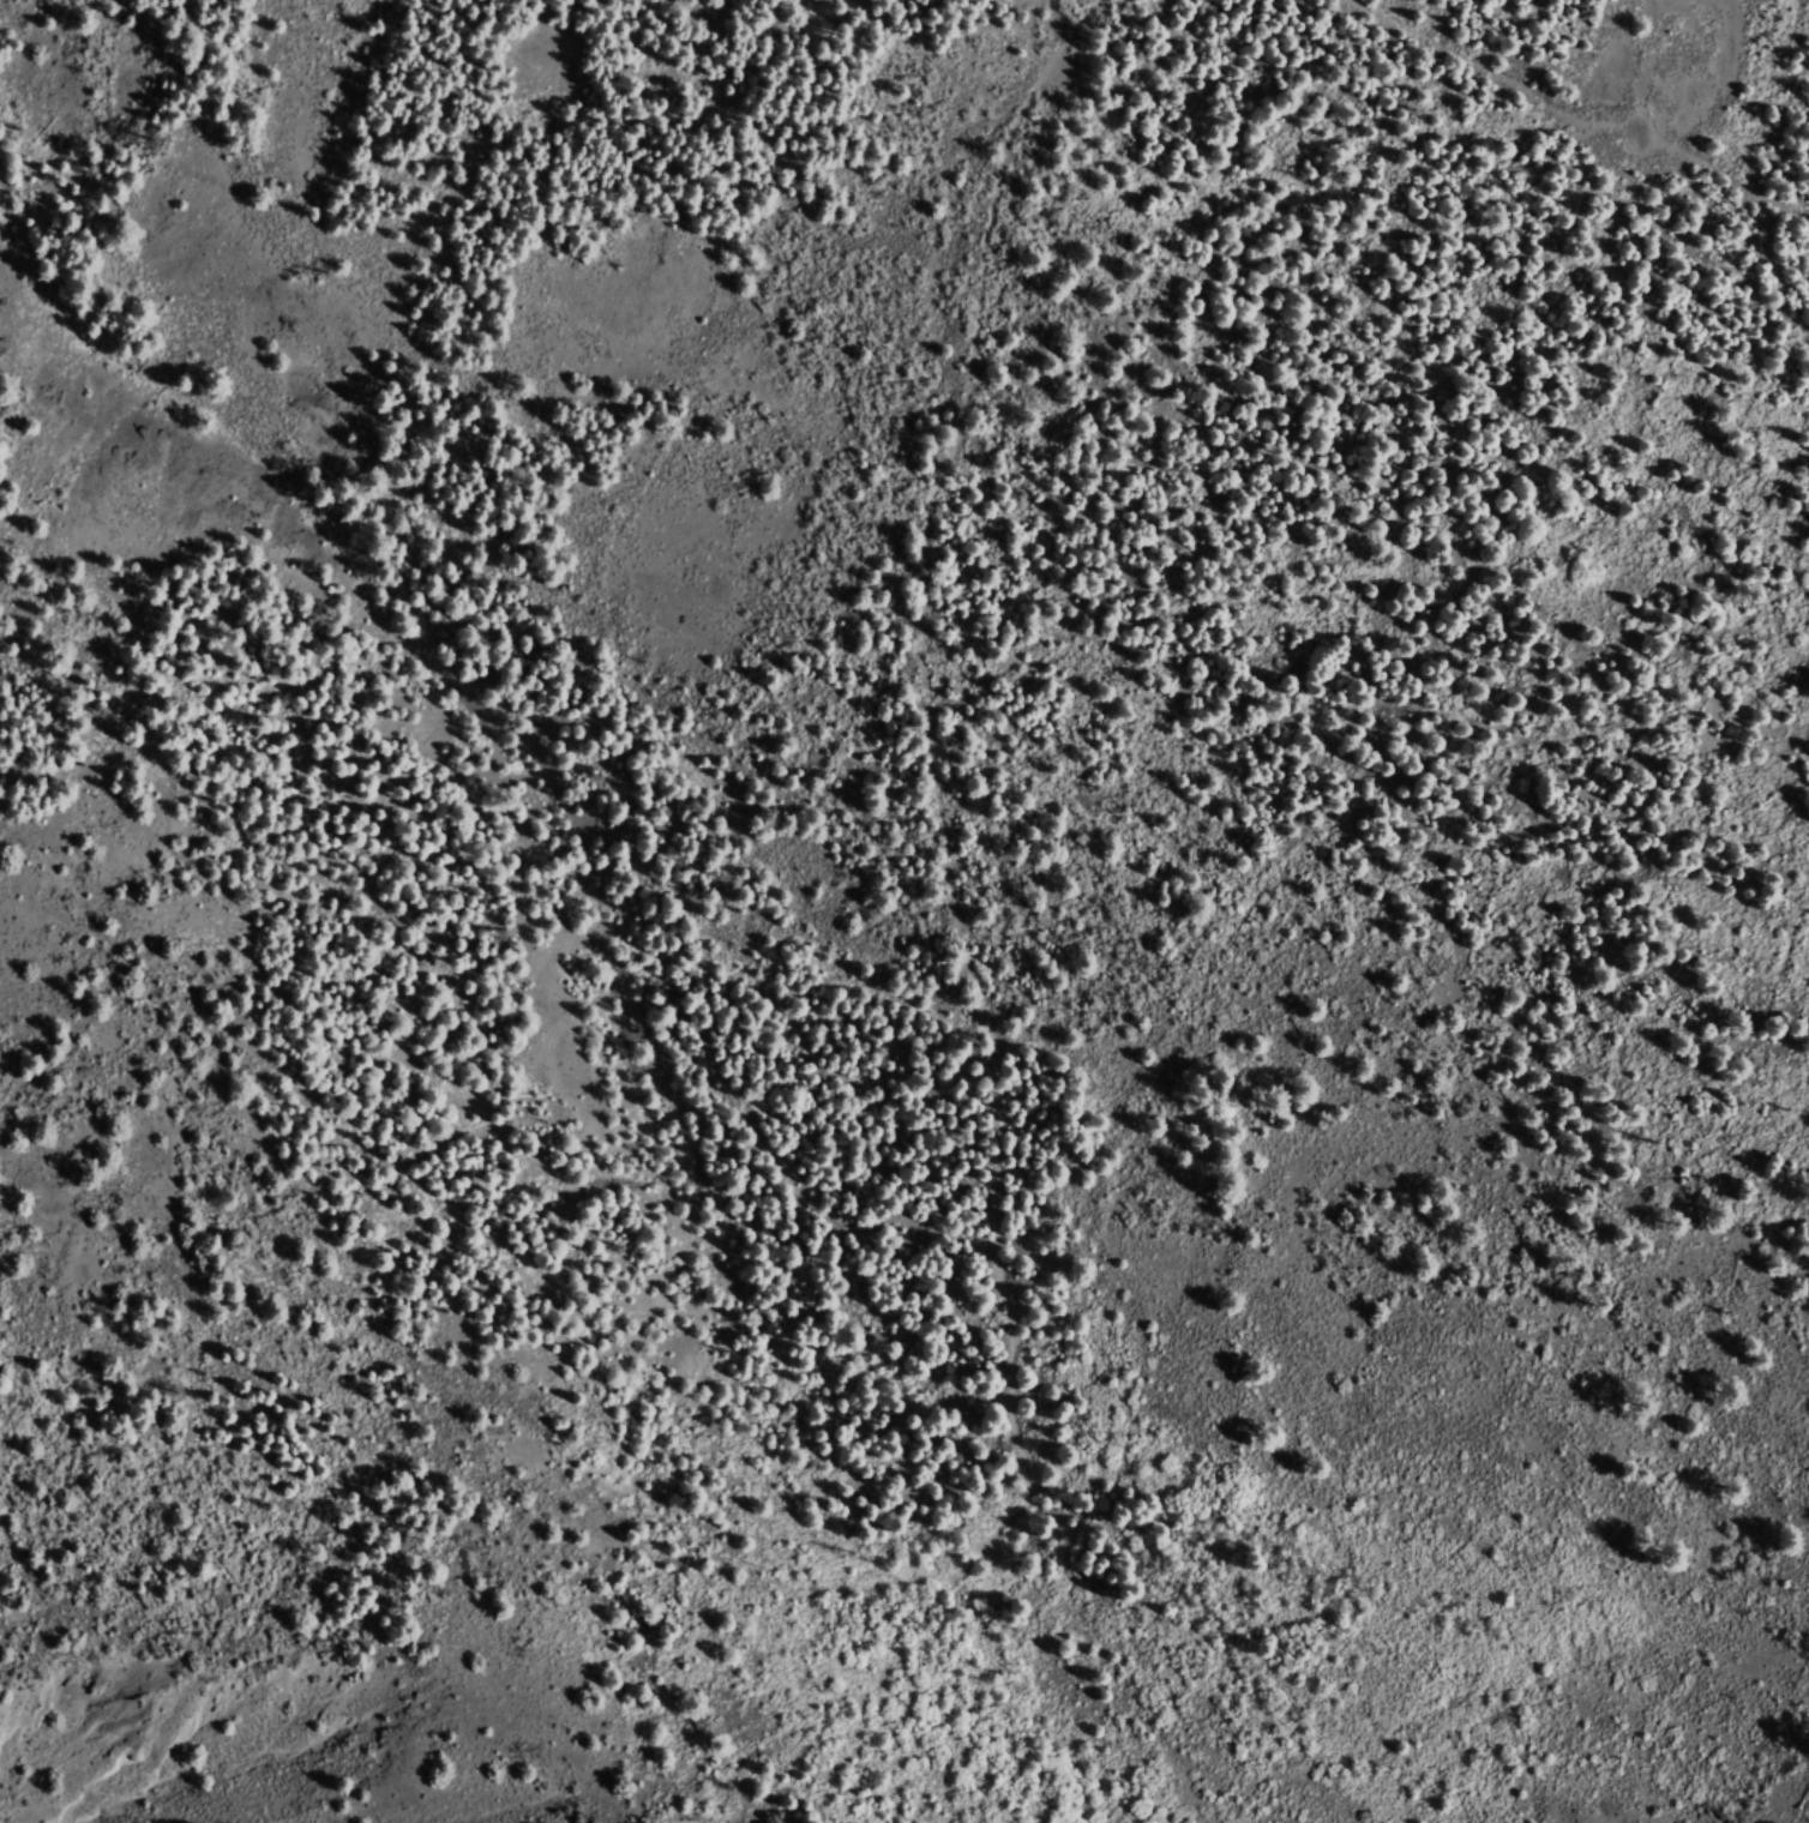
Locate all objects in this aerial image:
road: (932, 644)

